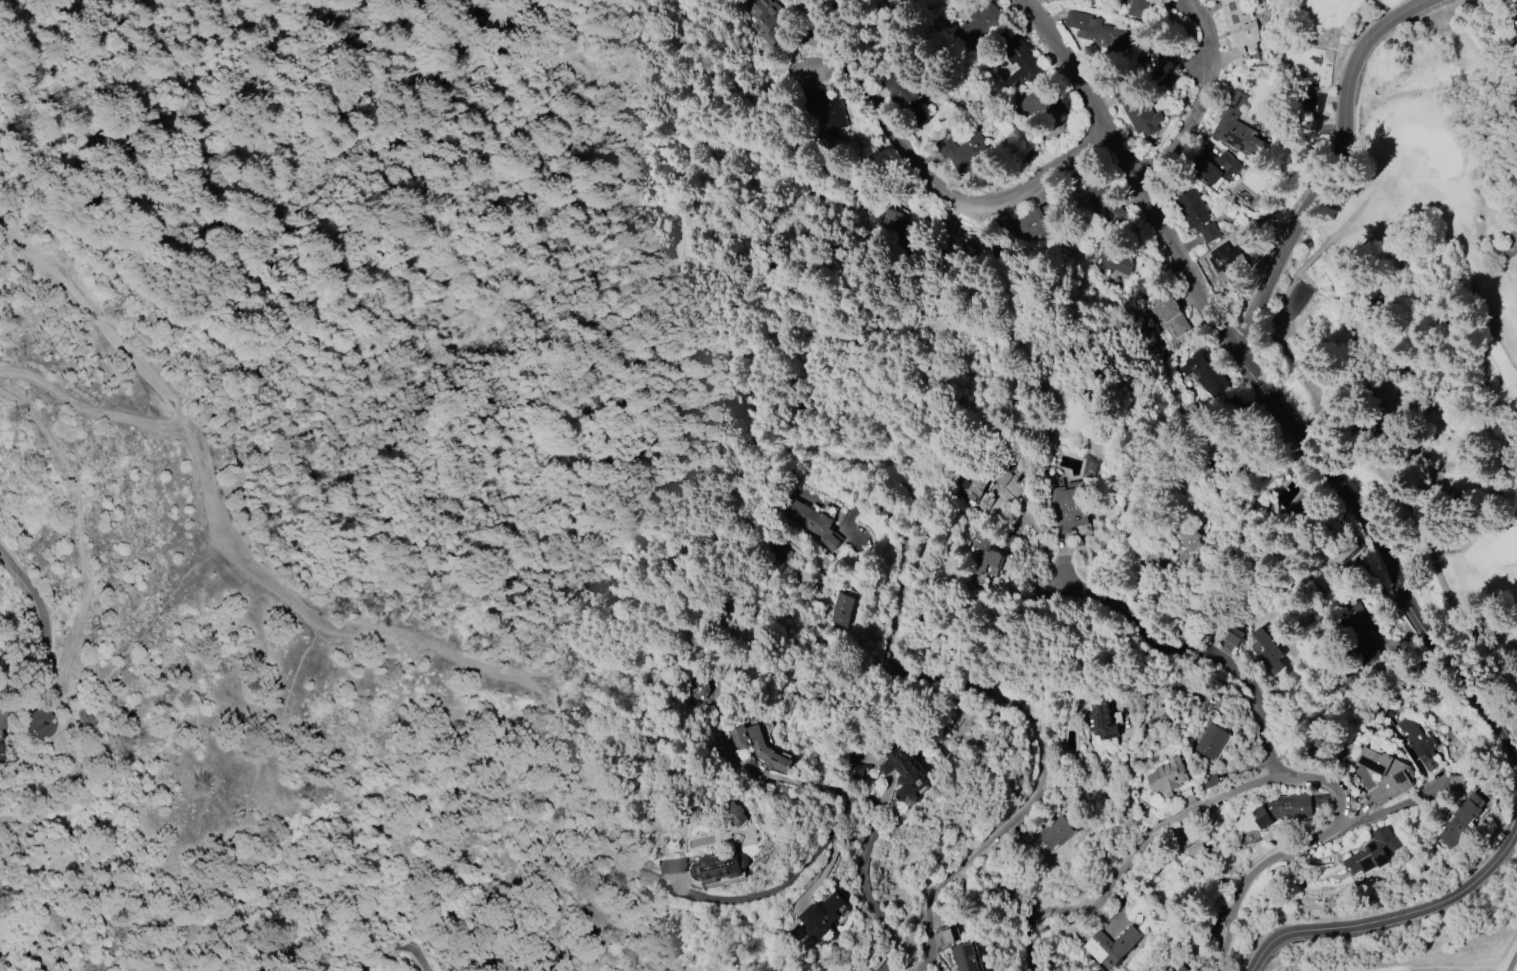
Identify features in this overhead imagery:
building: (1140, 7)
building: (767, 21)
building: (1241, 22)
building: (974, 28)
building: (1096, 31)
road: (406, 45)
building: (1020, 55)
building: (1160, 62)
building: (1516, 79)
road: (491, 81)
road: (1205, 99)
building: (1041, 100)
building: (911, 101)
building: (824, 110)
building: (1141, 113)
building: (1238, 128)
road: (719, 130)
park: (1435, 149)
road: (48, 151)
building: (965, 152)
road: (1332, 163)
building: (1216, 166)
road: (214, 182)
road: (939, 190)
building: (1102, 197)
road: (1494, 210)
building: (1196, 214)
building: (889, 219)
building: (1041, 219)
building: (1116, 258)
building: (1229, 263)
building: (1170, 317)
park: (1417, 362)
building: (1205, 375)
road: (1267, 382)
road: (92, 409)
road: (1379, 472)
building: (1004, 475)
building: (971, 487)
building: (1067, 508)
road: (886, 519)
building: (812, 522)
road: (1035, 533)
park: (1504, 541)
road: (83, 545)
building: (1189, 546)
building: (778, 553)
building: (1345, 553)
building: (984, 554)
road: (283, 588)
building: (840, 609)
road: (29, 621)
building: (1362, 634)
building: (1235, 637)
road: (1007, 640)
building: (1267, 651)
road: (1198, 653)
building: (695, 688)
building: (1100, 719)
building: (33, 723)
building: (1212, 741)
building: (1418, 741)
building: (759, 748)
road: (1042, 753)
building: (857, 772)
building: (1384, 773)
building: (906, 775)
building: (1168, 777)
road: (775, 780)
building: (1455, 783)
building: (1284, 809)
road: (1383, 811)
building: (735, 813)
building: (1462, 817)
road: (831, 832)
building: (1056, 832)
building: (1195, 843)
building: (1373, 847)
road: (1295, 849)
road: (1128, 858)
building: (671, 865)
building: (720, 868)
building: (824, 916)
road: (1395, 918)
building: (943, 936)
building: (1114, 944)
park: (1435, 947)
road: (24, 950)
road: (401, 950)
building: (964, 957)
road: (1512, 962)
building: (1179, 968)

